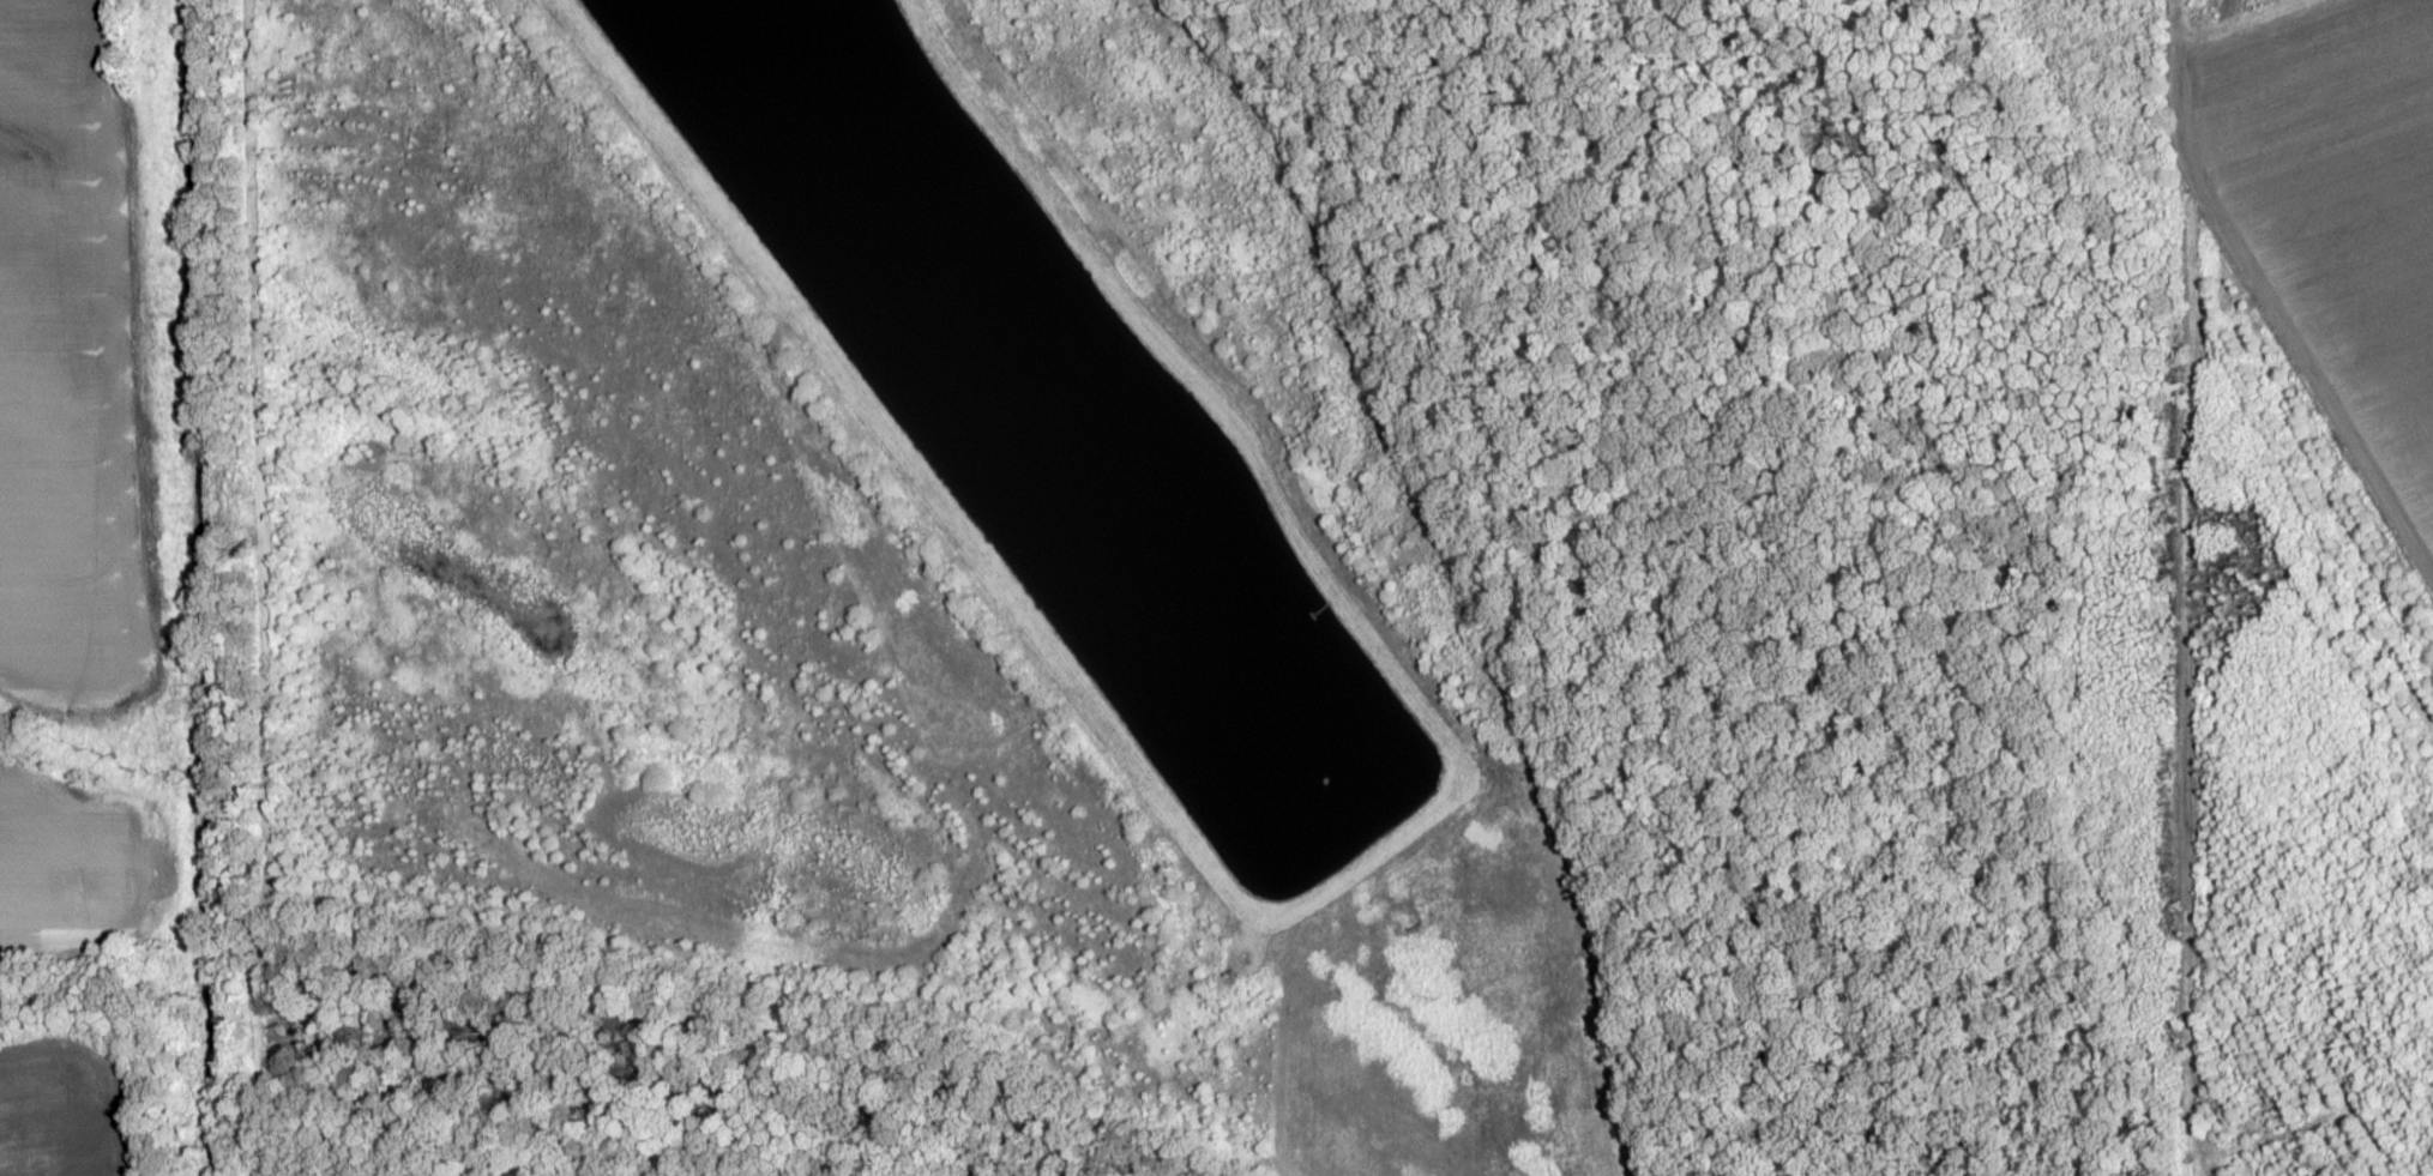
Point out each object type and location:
road: (2269, 302)
road: (2175, 650)

